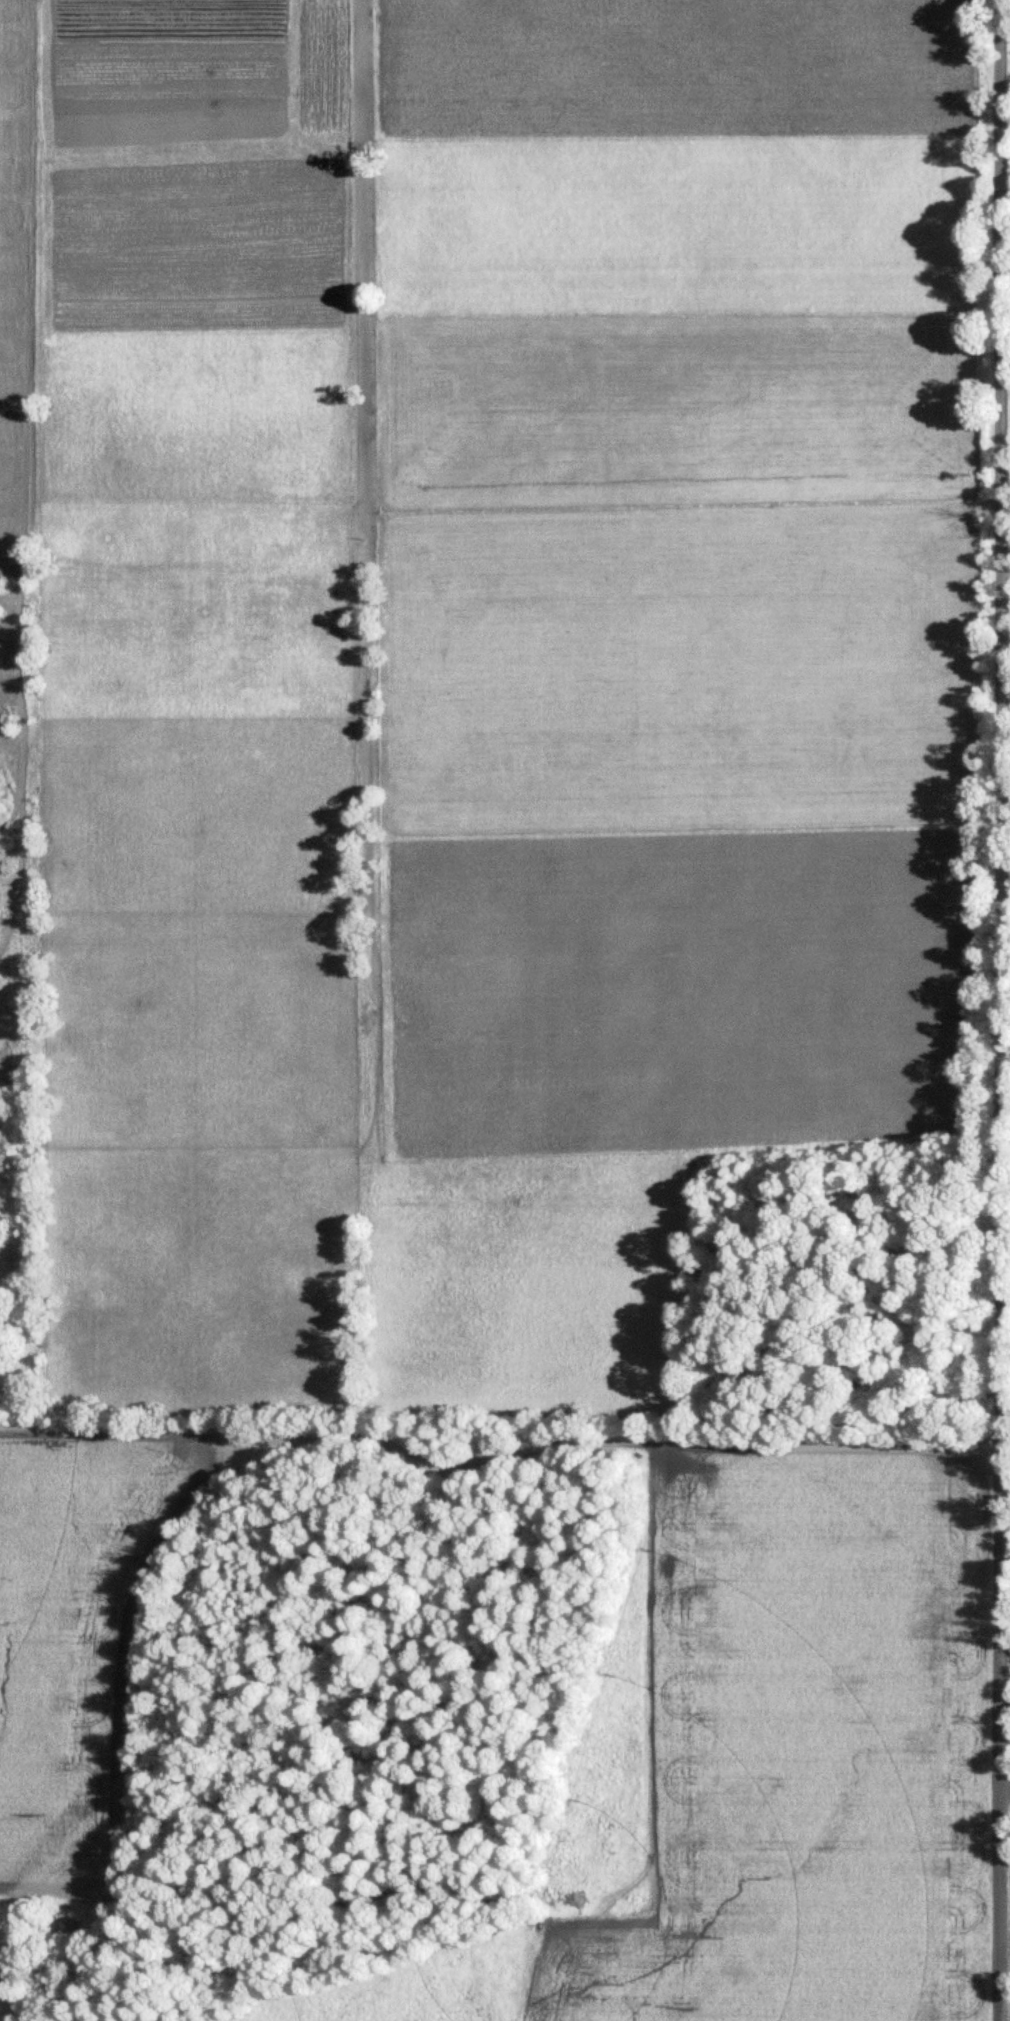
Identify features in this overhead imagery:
road: (1001, 1010)

